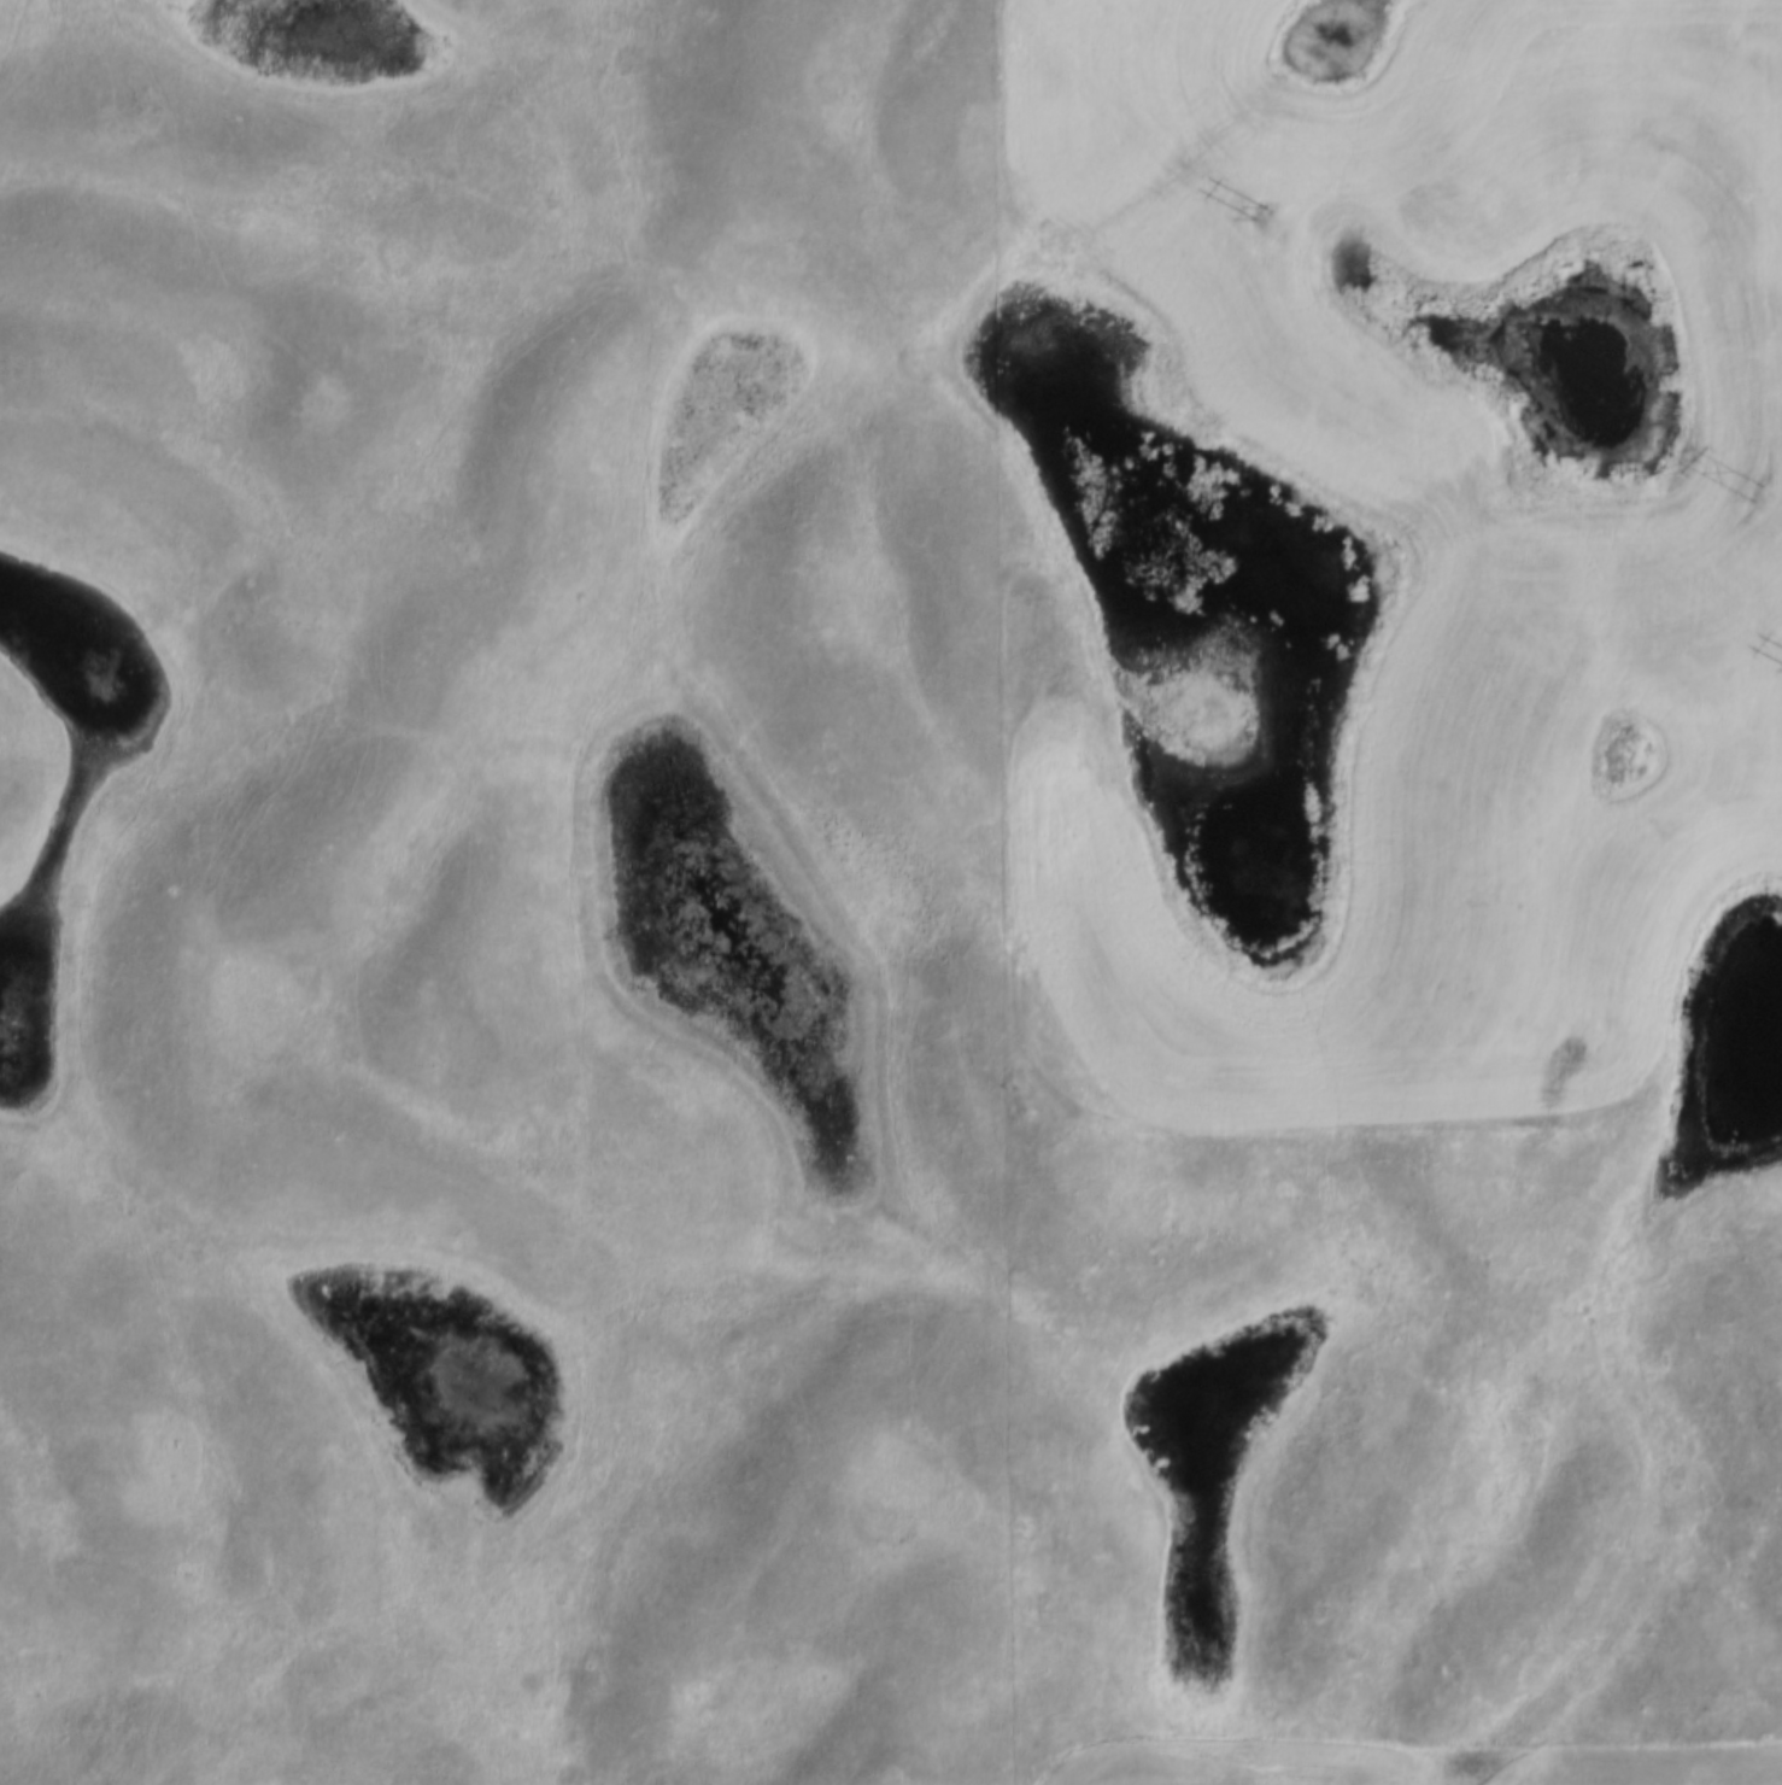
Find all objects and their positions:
power tower: (1752, 497)

